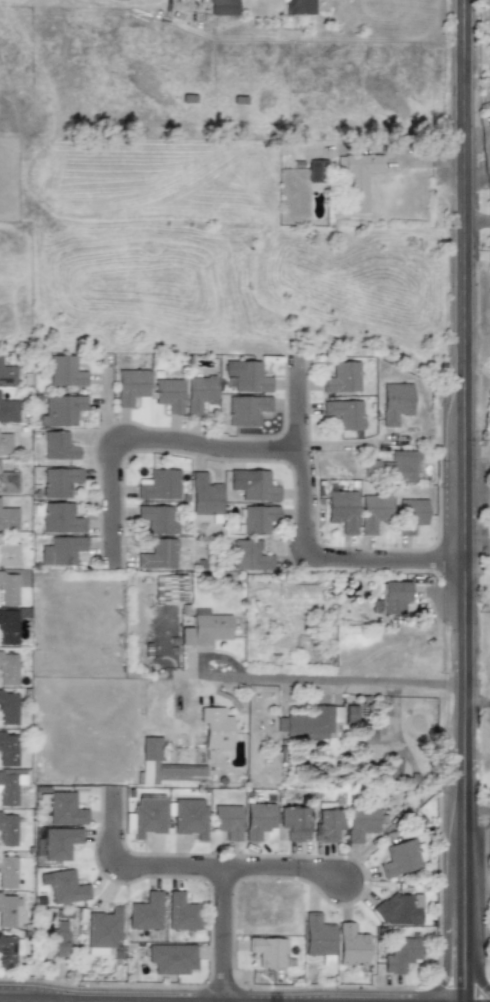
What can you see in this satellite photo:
building: (222, 7)
building: (298, 7)
building: (352, 151)
building: (317, 170)
building: (357, 180)
road: (477, 222)
road: (478, 341)
building: (64, 371)
building: (7, 375)
building: (246, 376)
building: (342, 378)
building: (129, 386)
building: (198, 393)
building: (167, 394)
building: (394, 402)
building: (245, 409)
building: (61, 410)
building: (8, 411)
building: (344, 413)
road: (145, 439)
building: (5, 444)
building: (58, 446)
building: (392, 466)
building: (59, 481)
building: (8, 482)
building: (160, 485)
building: (252, 485)
building: (204, 496)
road: (465, 500)
building: (340, 510)
building: (372, 512)
building: (409, 515)
building: (8, 518)
building: (60, 518)
building: (257, 518)
building: (156, 519)
road: (306, 536)
building: (61, 550)
building: (8, 554)
building: (158, 555)
building: (250, 556)
road: (476, 563)
building: (170, 588)
building: (8, 589)
building: (297, 591)
building: (393, 596)
building: (8, 627)
building: (205, 628)
building: (8, 668)
road: (333, 681)
road: (476, 701)
building: (8, 707)
building: (310, 722)
building: (216, 728)
building: (8, 749)
building: (163, 766)
building: (10, 785)
building: (63, 809)
building: (148, 814)
building: (189, 817)
building: (257, 820)
building: (227, 821)
building: (293, 822)
building: (360, 823)
building: (326, 825)
building: (7, 830)
road: (477, 837)
building: (58, 842)
building: (403, 857)
road: (134, 868)
road: (284, 870)
building: (7, 871)
building: (65, 887)
building: (398, 909)
building: (9, 911)
building: (145, 912)
building: (181, 912)
building: (102, 931)
road: (223, 936)
building: (317, 937)
building: (60, 939)
building: (351, 945)
building: (9, 950)
building: (268, 951)
building: (400, 952)
building: (171, 958)

